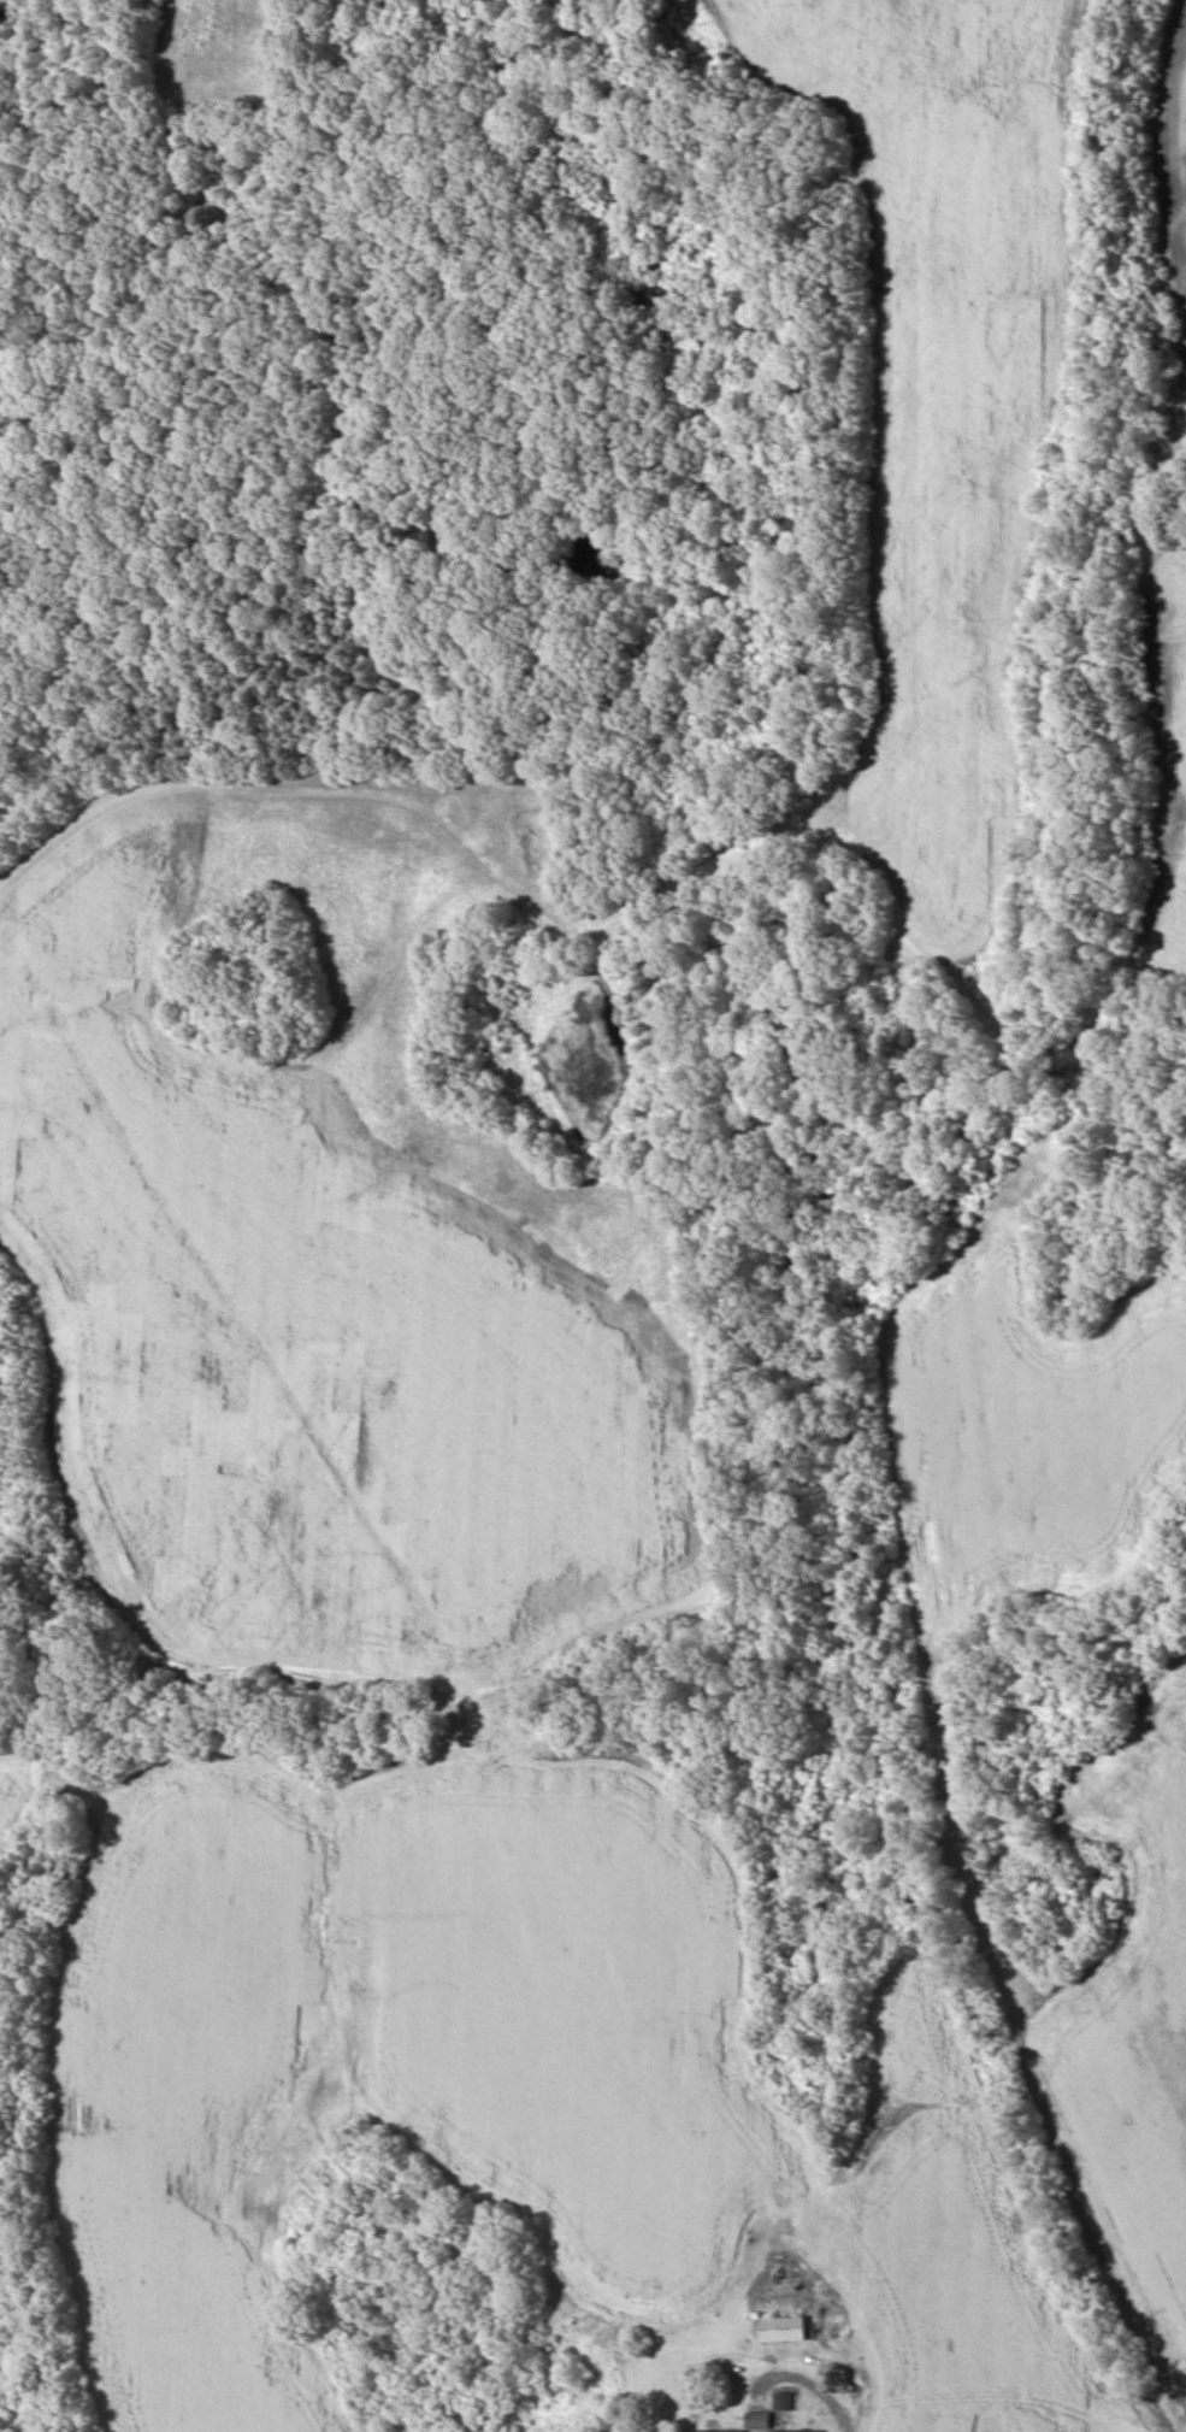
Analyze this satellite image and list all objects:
building: (783, 2330)
building: (757, 2422)
building: (713, 2431)

